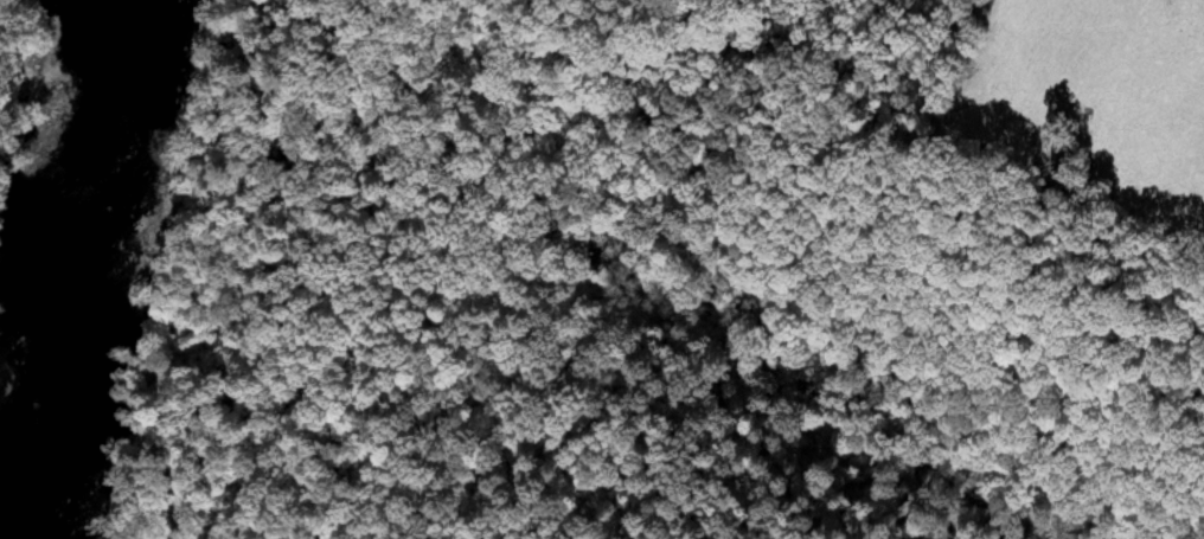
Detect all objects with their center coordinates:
river: (83, 269)

